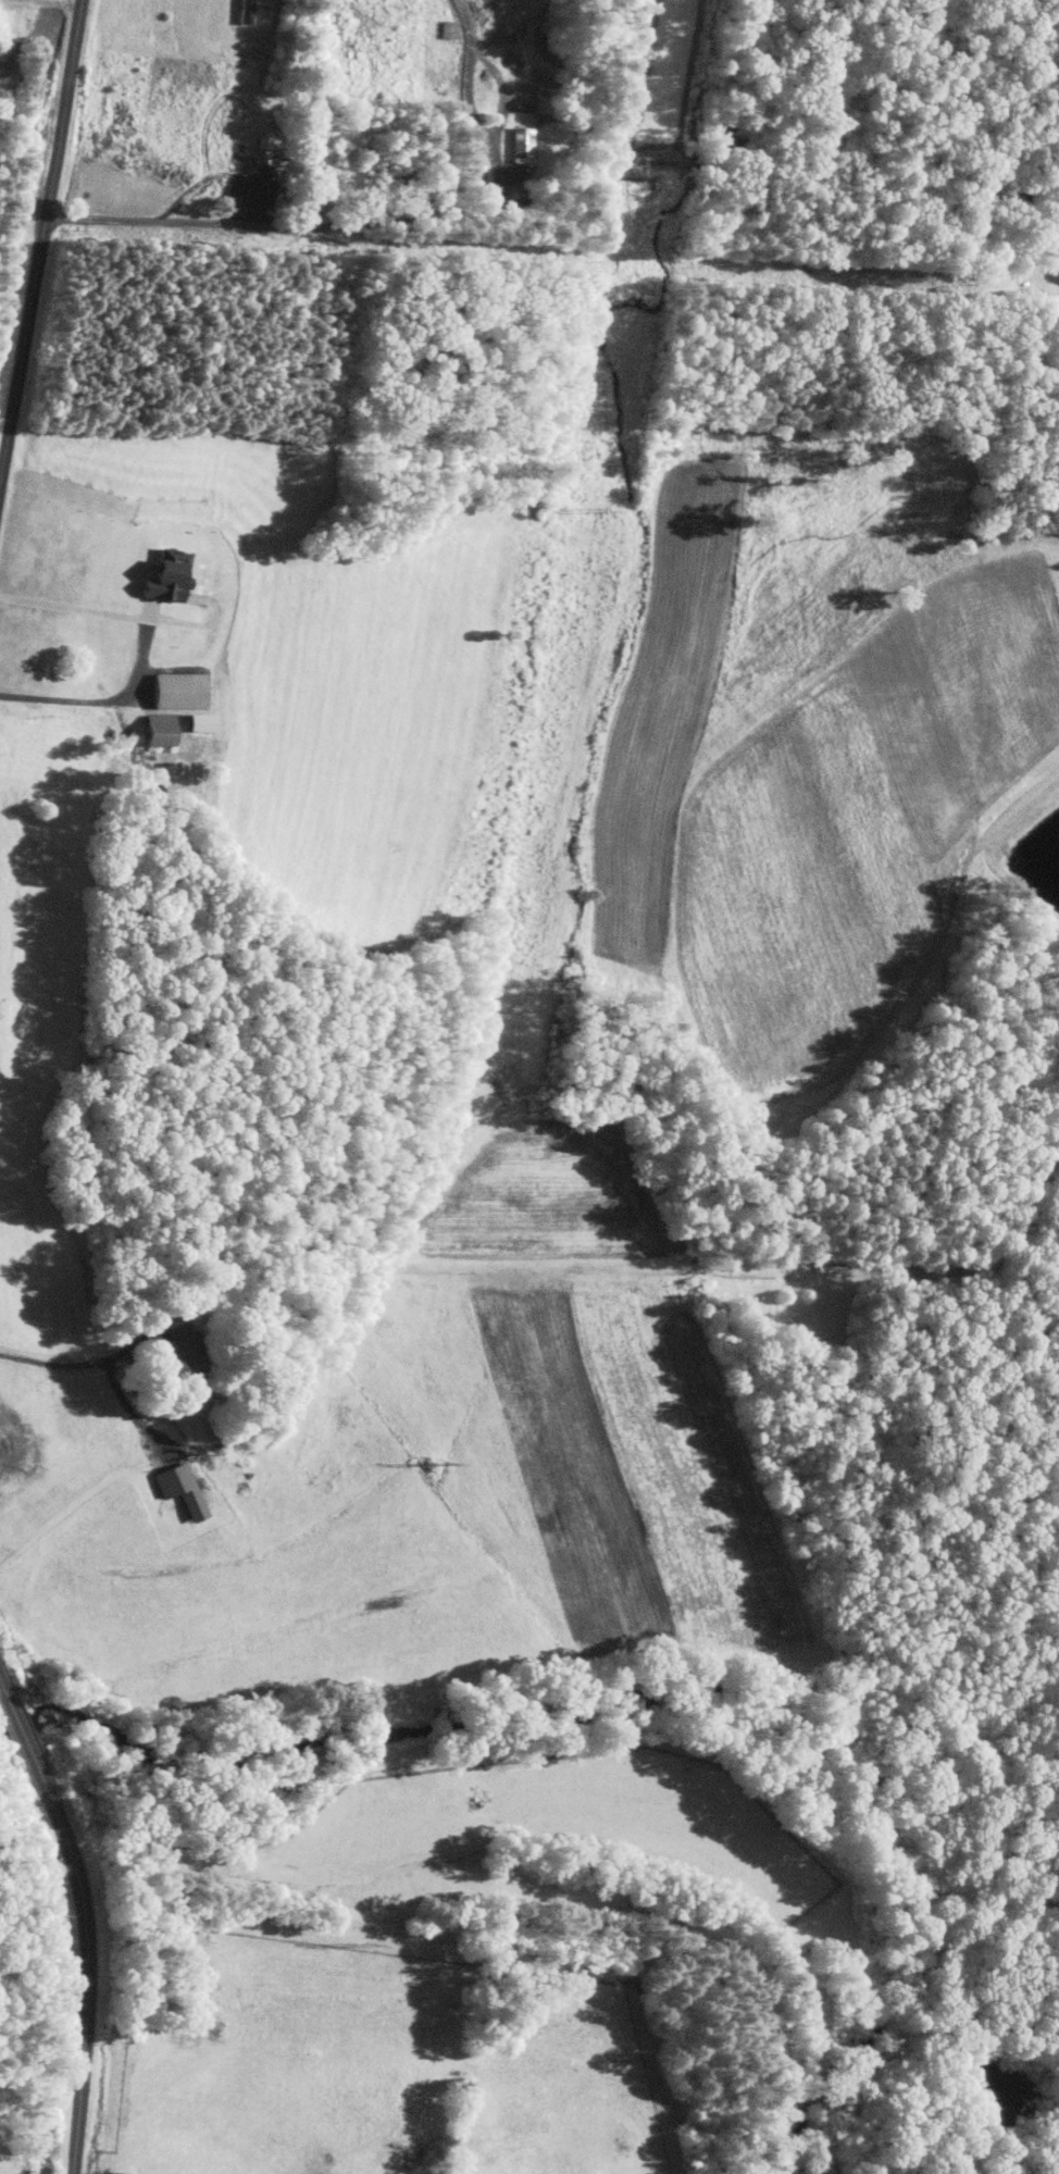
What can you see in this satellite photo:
power tower: (652, 137)
road: (555, 198)
road: (40, 240)
power tower: (593, 511)
building: (162, 575)
road: (141, 651)
building: (175, 691)
building: (157, 730)
power tower: (516, 989)
road: (99, 1362)
power tower: (438, 1465)
building: (180, 1489)
road: (3, 1687)
road: (18, 1725)
power tower: (361, 1946)
road: (89, 1960)

